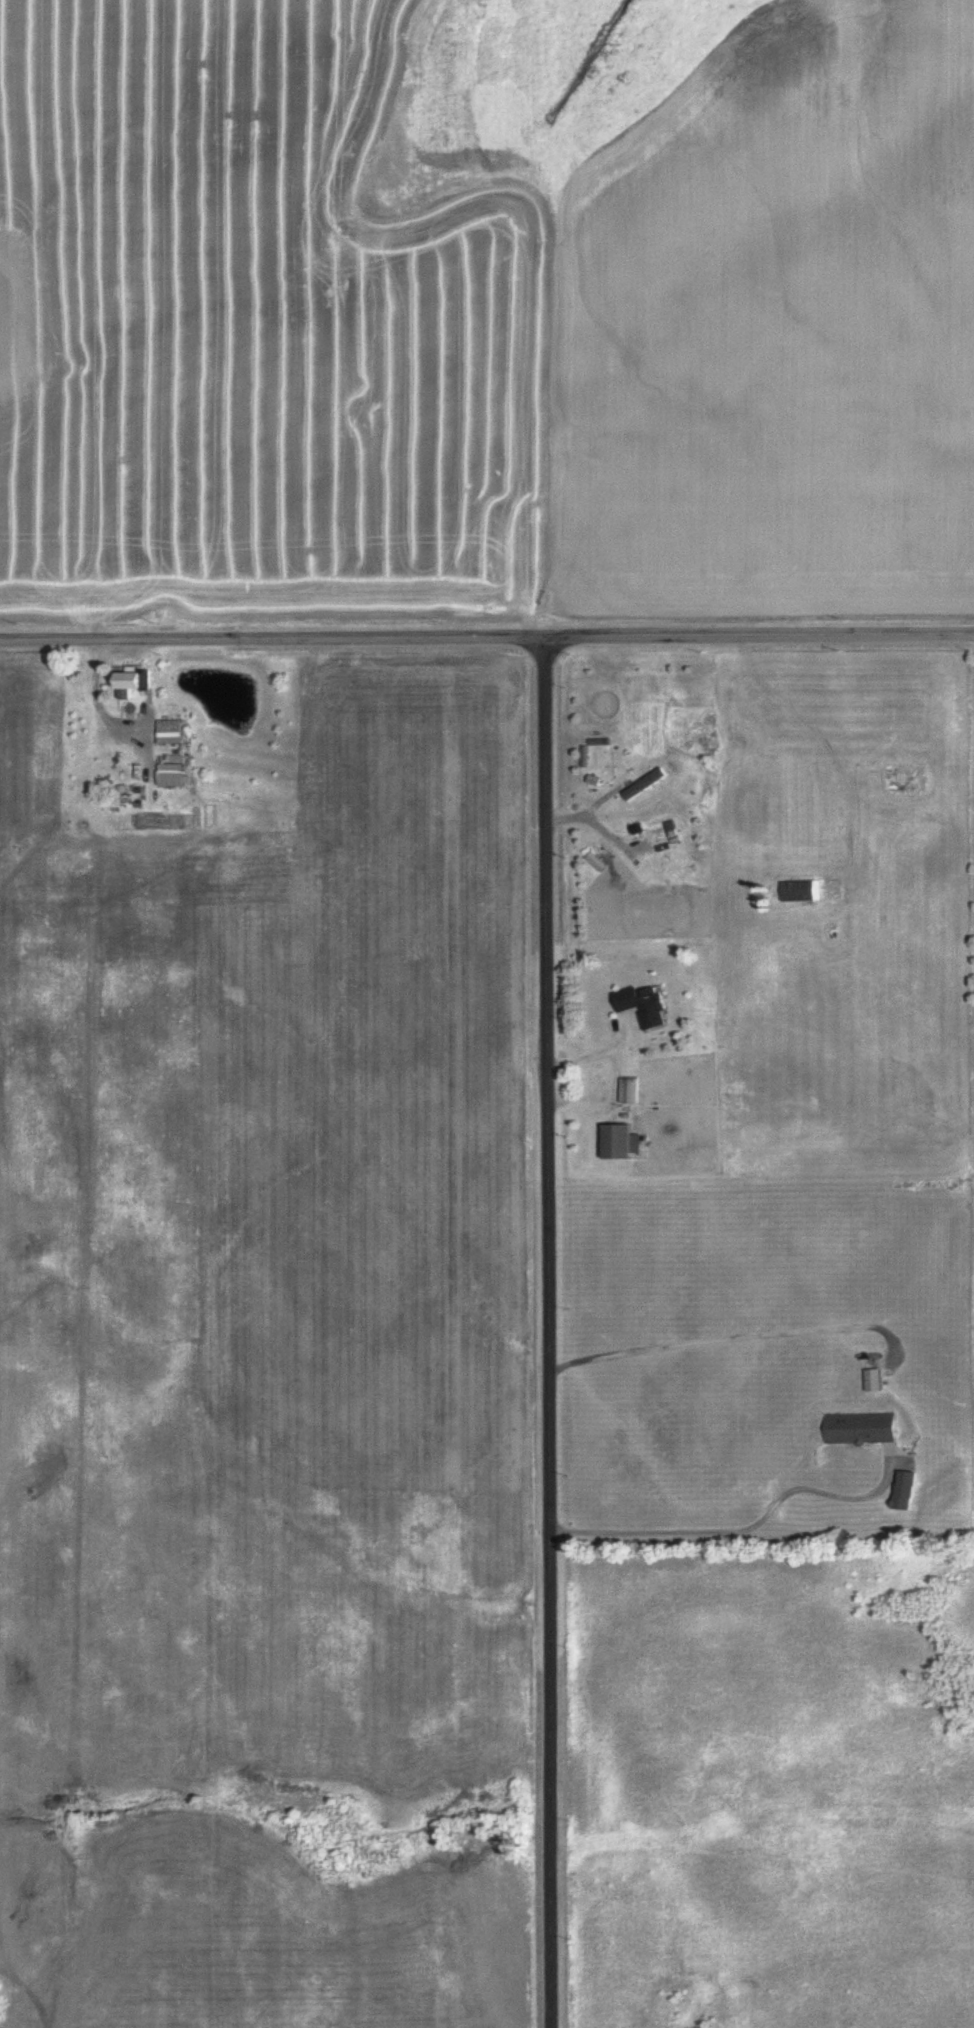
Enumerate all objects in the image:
crop: (480, 326)
road: (756, 639)
road: (269, 643)
road: (841, 792)
road: (609, 1079)
crop: (383, 1105)
road: (542, 1334)

